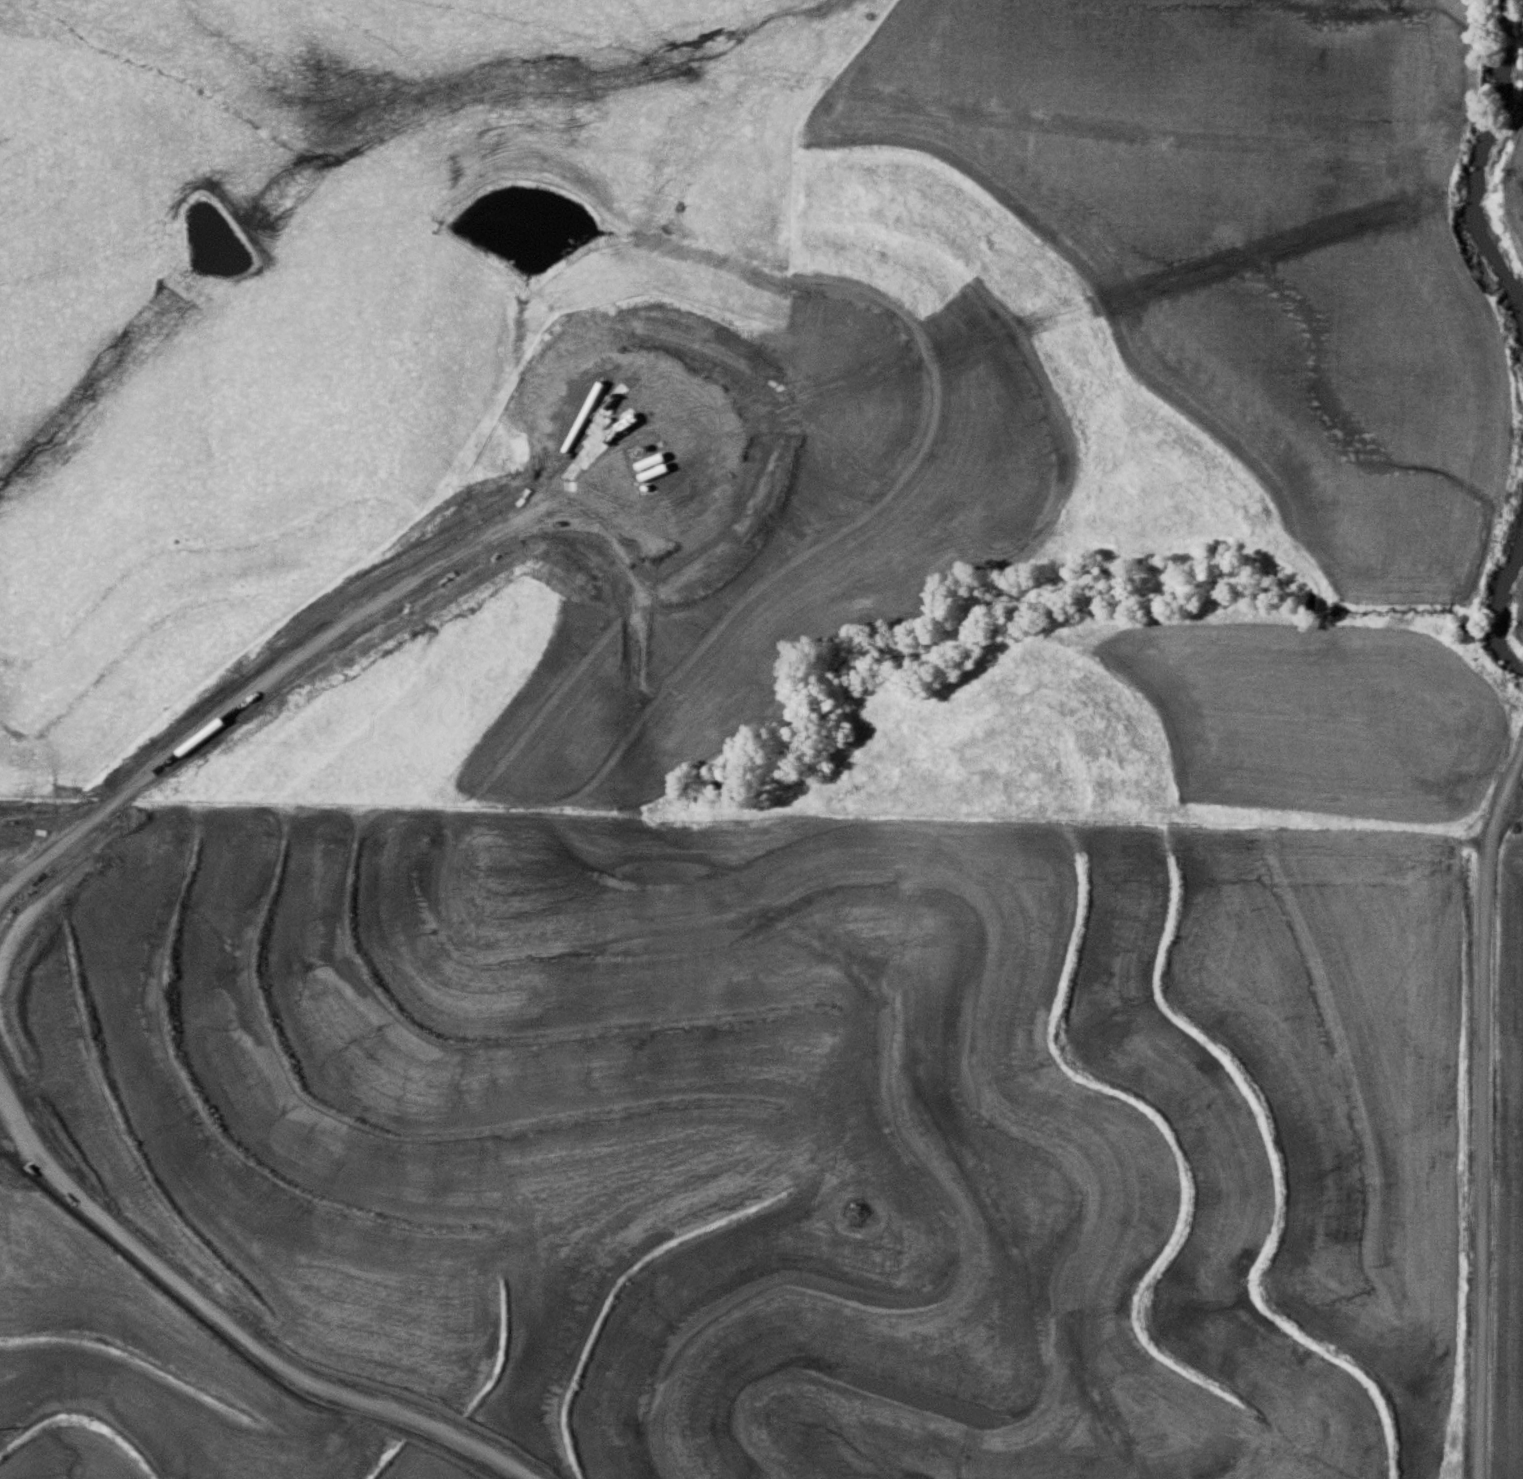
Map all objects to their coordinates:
road: (1488, 1113)

